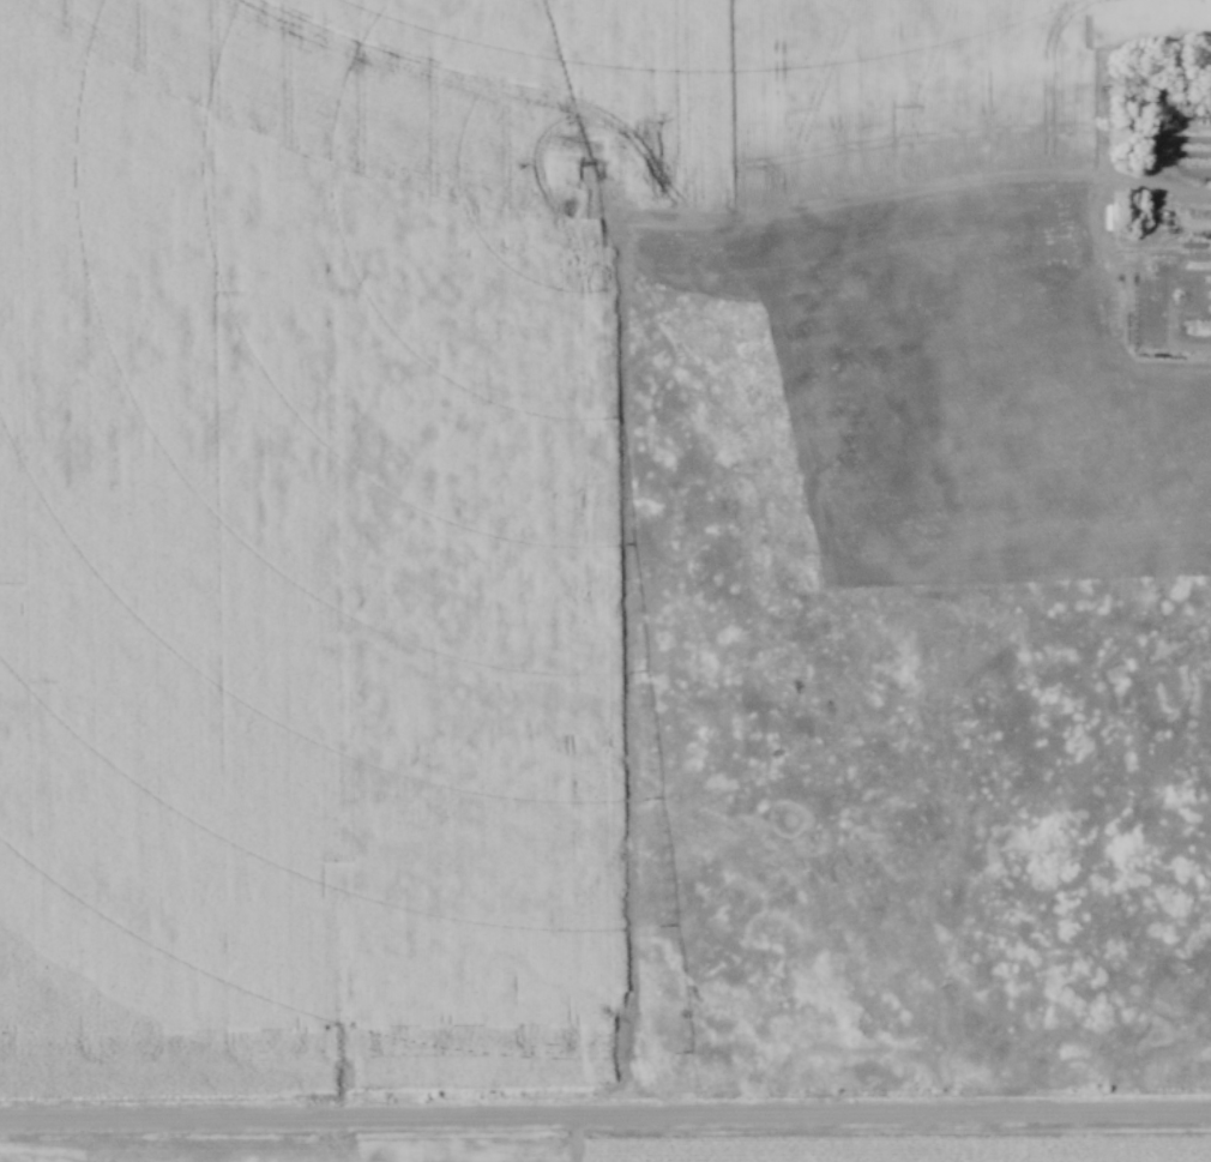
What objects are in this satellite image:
road: (605, 1120)

